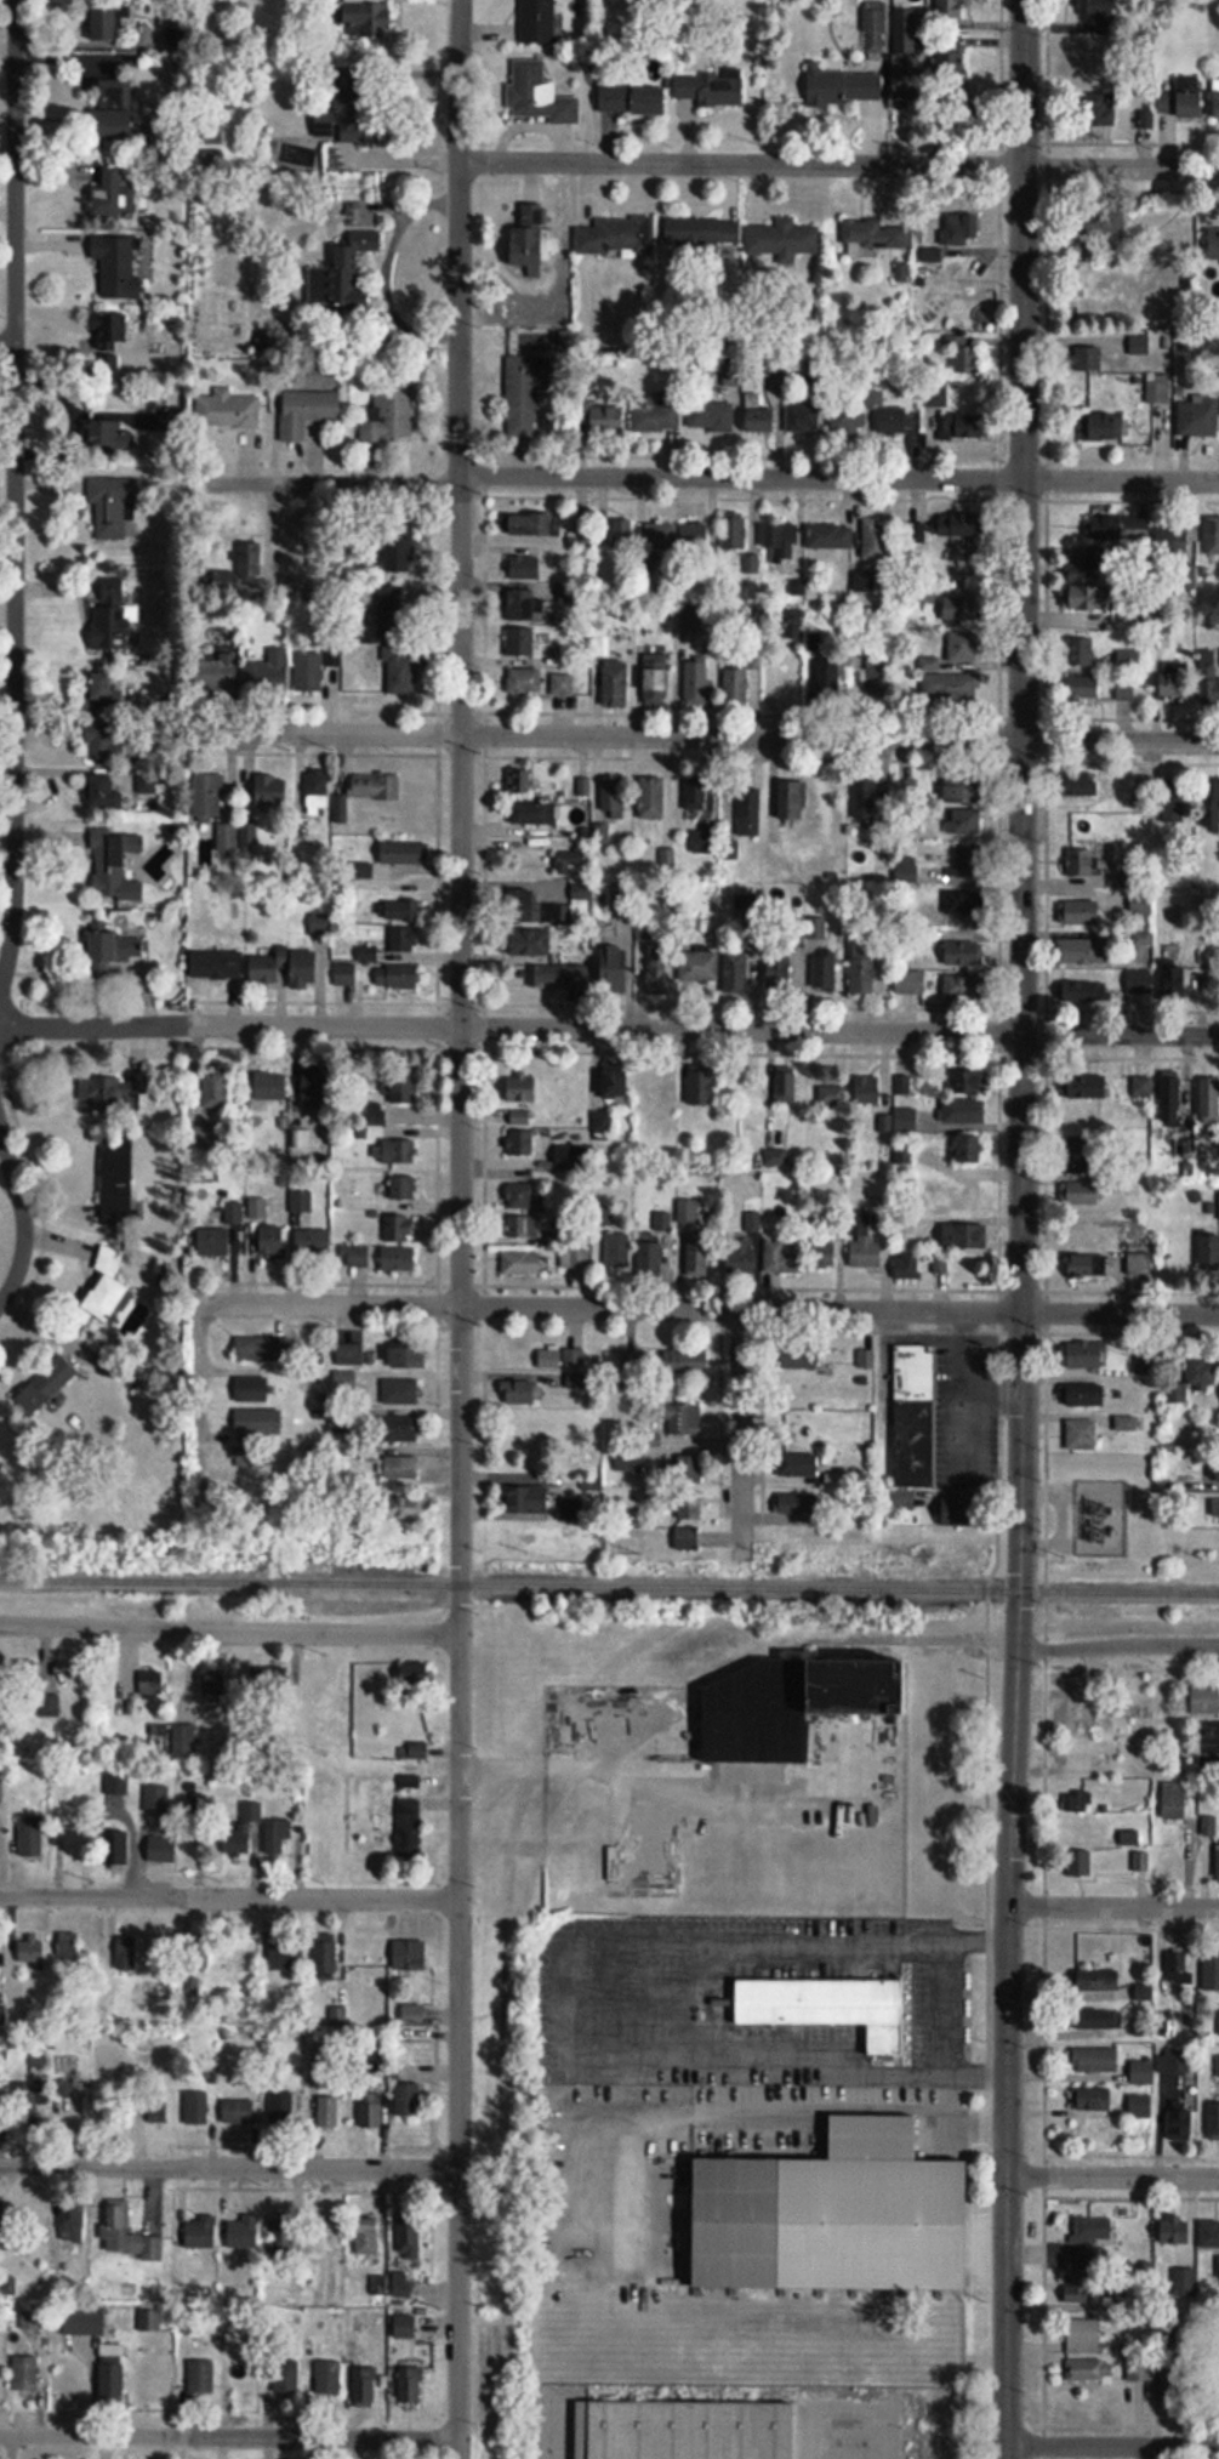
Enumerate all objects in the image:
building: (366, 15)
building: (537, 21)
building: (104, 23)
building: (1103, 29)
building: (875, 30)
building: (913, 32)
building: (957, 57)
road: (1024, 82)
building: (844, 86)
building: (710, 90)
building: (539, 95)
building: (1215, 97)
building: (233, 99)
building: (632, 99)
building: (1183, 99)
building: (114, 107)
building: (1100, 112)
building: (209, 132)
building: (212, 156)
road: (838, 164)
building: (109, 195)
building: (232, 230)
building: (702, 230)
building: (958, 232)
building: (534, 237)
building: (615, 237)
building: (879, 238)
building: (779, 239)
building: (1218, 239)
building: (120, 267)
building: (351, 272)
building: (905, 274)
road: (7, 341)
building: (110, 341)
building: (964, 357)
building: (1088, 359)
building: (524, 387)
building: (1158, 388)
building: (228, 410)
building: (307, 412)
building: (655, 416)
building: (387, 417)
building: (710, 417)
building: (758, 417)
building: (803, 419)
building: (848, 420)
building: (1197, 420)
building: (606, 421)
building: (894, 421)
building: (962, 426)
building: (1104, 428)
building: (104, 436)
road: (712, 480)
road: (15, 501)
building: (112, 507)
building: (530, 526)
building: (1121, 529)
building: (734, 531)
building: (622, 534)
building: (659, 537)
building: (695, 537)
building: (830, 537)
building: (944, 537)
building: (877, 540)
building: (1175, 542)
building: (787, 543)
building: (399, 550)
building: (250, 557)
building: (526, 569)
road: (1023, 598)
building: (1089, 599)
building: (524, 605)
building: (963, 609)
building: (389, 611)
building: (114, 624)
building: (519, 642)
building: (602, 645)
building: (955, 653)
building: (1082, 653)
building: (1128, 662)
building: (309, 672)
building: (872, 672)
building: (401, 673)
building: (266, 674)
building: (215, 676)
building: (824, 678)
building: (1209, 678)
building: (1174, 681)
building: (524, 682)
building: (656, 682)
building: (696, 682)
building: (614, 684)
building: (562, 685)
building: (737, 685)
building: (950, 687)
building: (1083, 687)
building: (106, 688)
building: (1126, 689)
road: (699, 736)
building: (106, 740)
building: (519, 781)
building: (1076, 785)
building: (375, 787)
building: (115, 791)
building: (272, 791)
building: (318, 791)
building: (207, 797)
building: (613, 797)
building: (651, 799)
building: (793, 801)
building: (871, 801)
building: (699, 802)
building: (1173, 806)
building: (1212, 806)
building: (750, 812)
building: (532, 814)
building: (963, 820)
building: (228, 842)
building: (705, 842)
building: (404, 853)
building: (113, 860)
building: (968, 860)
building: (1082, 860)
building: (573, 863)
building: (915, 872)
building: (580, 892)
building: (963, 901)
building: (1141, 904)
building: (399, 911)
building: (1081, 911)
building: (1172, 912)
building: (1144, 939)
building: (529, 941)
building: (387, 944)
building: (114, 947)
building: (963, 950)
building: (1083, 950)
building: (217, 963)
building: (304, 967)
building: (699, 967)
building: (268, 968)
building: (779, 968)
building: (736, 970)
building: (344, 973)
building: (582, 973)
building: (657, 973)
building: (862, 974)
building: (397, 975)
building: (1139, 981)
building: (1174, 981)
building: (911, 983)
building: (964, 987)
building: (1088, 989)
road: (511, 1029)
road: (1121, 1031)
building: (970, 1081)
building: (615, 1083)
building: (270, 1086)
building: (702, 1087)
building: (1087, 1087)
building: (776, 1088)
building: (1143, 1088)
building: (404, 1089)
building: (520, 1089)
building: (870, 1089)
building: (215, 1091)
building: (653, 1091)
building: (113, 1092)
building: (314, 1092)
building: (832, 1095)
building: (1170, 1099)
building: (1209, 1100)
building: (964, 1111)
building: (520, 1143)
building: (969, 1149)
building: (399, 1151)
building: (1083, 1155)
building: (775, 1157)
building: (118, 1185)
building: (403, 1188)
building: (1082, 1194)
building: (519, 1196)
building: (969, 1200)
building: (301, 1208)
building: (688, 1212)
building: (233, 1213)
road: (21, 1216)
building: (523, 1228)
building: (399, 1229)
road: (461, 1229)
building: (1080, 1233)
building: (964, 1236)
building: (556, 1239)
building: (266, 1240)
building: (213, 1241)
building: (311, 1242)
building: (864, 1245)
building: (744, 1248)
building: (617, 1251)
building: (1208, 1253)
building: (822, 1256)
building: (358, 1257)
building: (579, 1258)
building: (649, 1258)
building: (695, 1258)
building: (398, 1259)
building: (781, 1259)
building: (522, 1263)
building: (940, 1264)
building: (907, 1267)
building: (1089, 1267)
building: (107, 1286)
road: (711, 1309)
road: (1023, 1326)
building: (263, 1349)
building: (349, 1354)
building: (406, 1354)
building: (1084, 1355)
building: (798, 1356)
building: (575, 1357)
building: (548, 1359)
building: (687, 1360)
building: (636, 1364)
building: (1190, 1379)
building: (344, 1382)
building: (45, 1385)
building: (251, 1389)
building: (400, 1393)
building: (519, 1393)
building: (1083, 1396)
road: (200, 1416)
building: (682, 1417)
building: (258, 1422)
building: (913, 1422)
building: (1126, 1423)
building: (801, 1424)
building: (398, 1430)
road: (741, 1430)
building: (1082, 1435)
building: (247, 1457)
building: (628, 1458)
building: (797, 1464)
building: (400, 1468)
building: (1212, 1469)
building: (690, 1473)
building: (529, 1499)
building: (798, 1503)
building: (400, 1507)
building: (690, 1507)
building: (1217, 1508)
building: (687, 1537)
railway: (511, 1584)
railway: (1120, 1592)
road: (228, 1630)
road: (1115, 1649)
building: (415, 1673)
building: (0, 1683)
building: (150, 1684)
building: (215, 1685)
building: (859, 1687)
building: (188, 1697)
building: (1206, 1701)
building: (47, 1706)
building: (742, 1727)
building: (118, 1787)
building: (1, 1793)
building: (155, 1799)
building: (1174, 1801)
building: (1076, 1803)
building: (199, 1810)
building: (1208, 1827)
building: (409, 1829)
building: (243, 1831)
building: (1082, 1831)
building: (1, 1832)
railway: (554, 1832)
building: (277, 1837)
building: (1133, 1838)
building: (30, 1842)
railway: (512, 1846)
building: (118, 1849)
building: (161, 1849)
building: (1218, 1861)
building: (1080, 1865)
road: (228, 1897)
road: (1112, 1913)
building: (68, 1945)
road: (939, 1945)
building: (32, 1952)
building: (410, 1956)
building: (129, 1957)
building: (325, 1958)
building: (1178, 1968)
building: (1211, 1973)
building: (1099, 1981)
parking lot: (718, 1988)
building: (810, 2002)
building: (2, 2015)
building: (412, 2015)
building: (1100, 2020)
road: (1003, 2039)
building: (326, 2048)
building: (1095, 2060)
building: (1178, 2061)
road: (968, 2066)
building: (1218, 2066)
building: (1143, 2072)
building: (34, 2099)
building: (410, 2100)
building: (1094, 2100)
building: (195, 2106)
building: (1140, 2106)
building: (280, 2108)
building: (156, 2110)
building: (371, 2110)
building: (238, 2111)
building: (327, 2111)
road: (968, 2117)
building: (1180, 2122)
building: (1213, 2122)
parking lot: (673, 2152)
road: (228, 2167)
road: (1110, 2182)
building: (821, 2213)
building: (1, 2220)
building: (70, 2221)
building: (1087, 2231)
building: (200, 2232)
building: (1175, 2232)
building: (129, 2233)
building: (366, 2235)
building: (1209, 2235)
building: (408, 2236)
building: (245, 2237)
building: (298, 2243)
building: (1218, 2269)
building: (1184, 2283)
building: (1076, 2289)
building: (32, 2319)
building: (84, 2322)
building: (405, 2327)
building: (1083, 2336)
building: (1089, 2372)
building: (25, 2373)
building: (112, 2375)
building: (201, 2378)
building: (329, 2378)
building: (285, 2379)
building: (409, 2385)
building: (1173, 2385)
building: (364, 2386)
road: (844, 2407)
building: (666, 2423)
parking lot: (828, 2424)
road: (228, 2437)
road: (1110, 2454)

